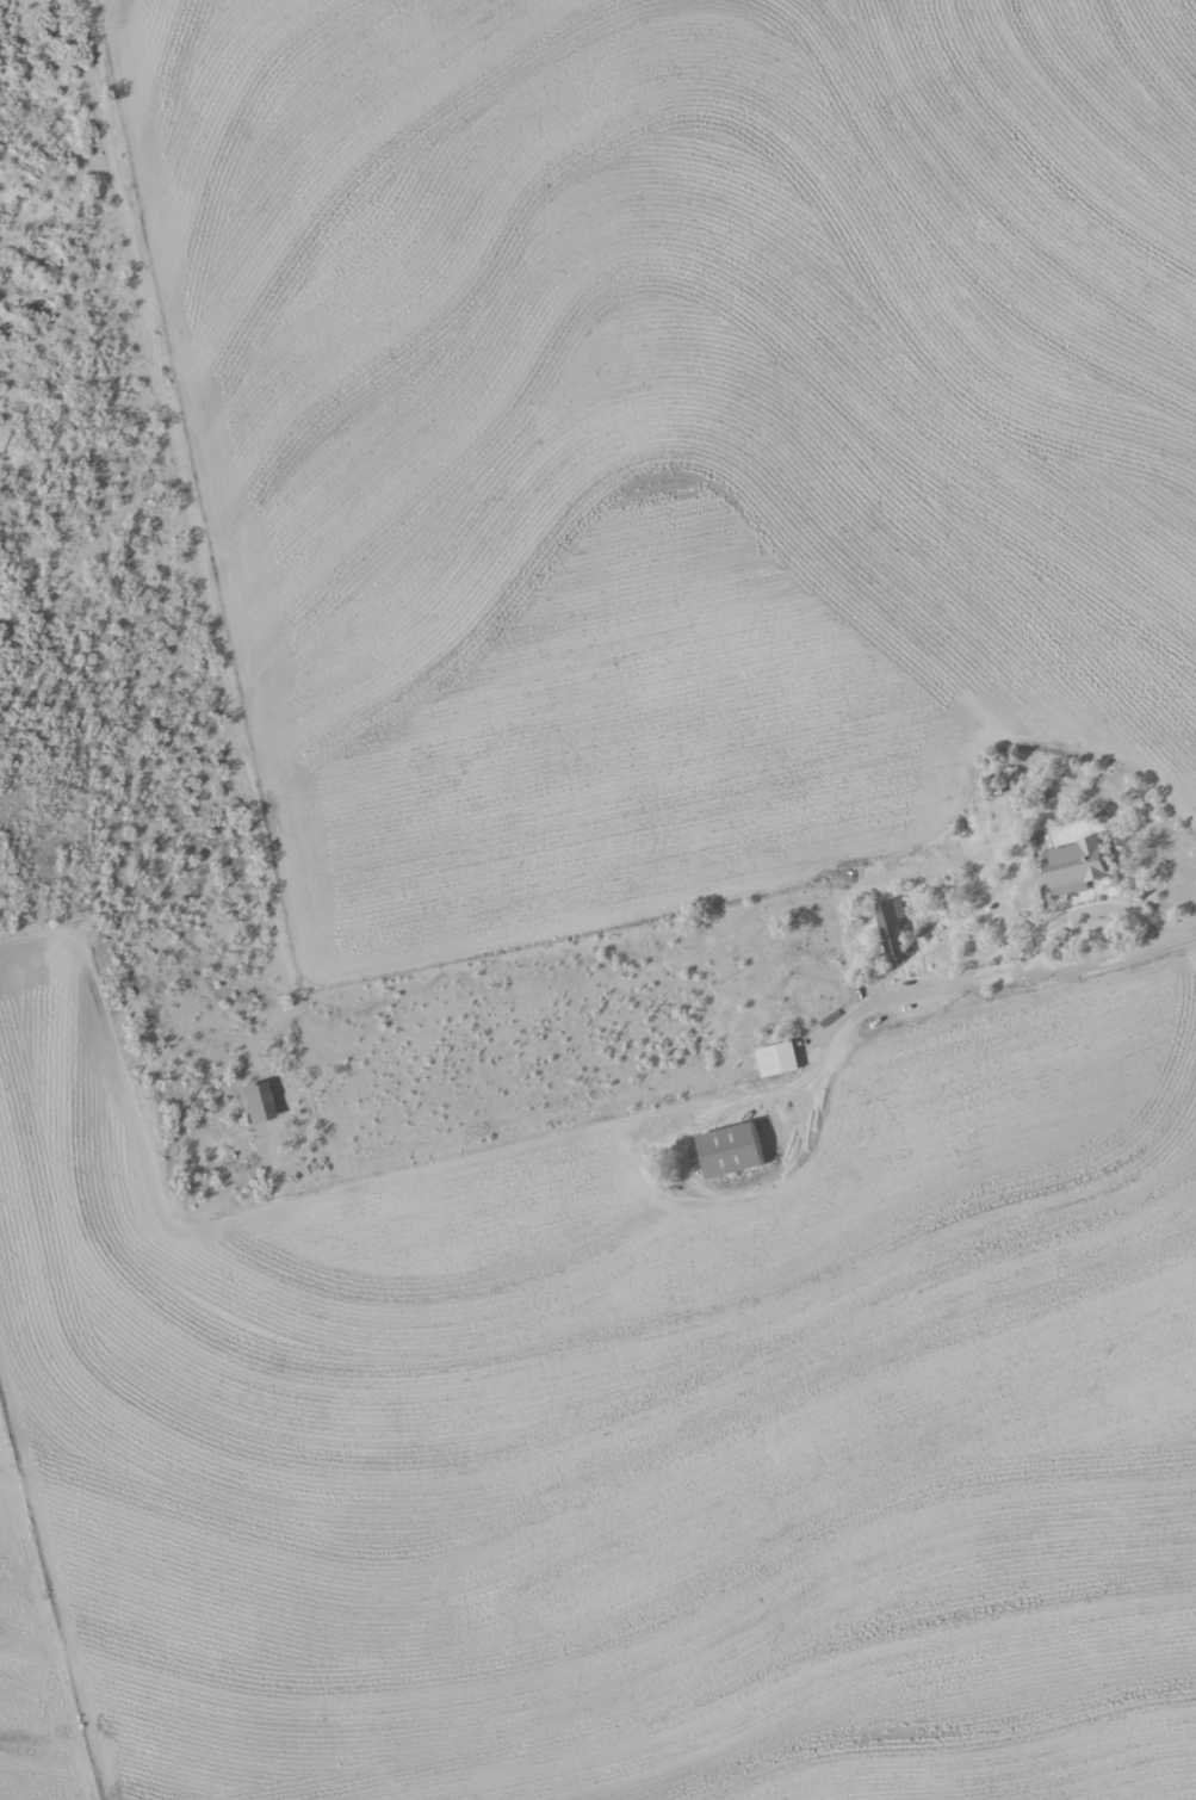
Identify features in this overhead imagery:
road: (154, 494)
building: (1072, 864)
road: (1011, 955)
road: (817, 990)
building: (776, 1059)
building: (254, 1102)
building: (727, 1150)
road: (808, 1241)

